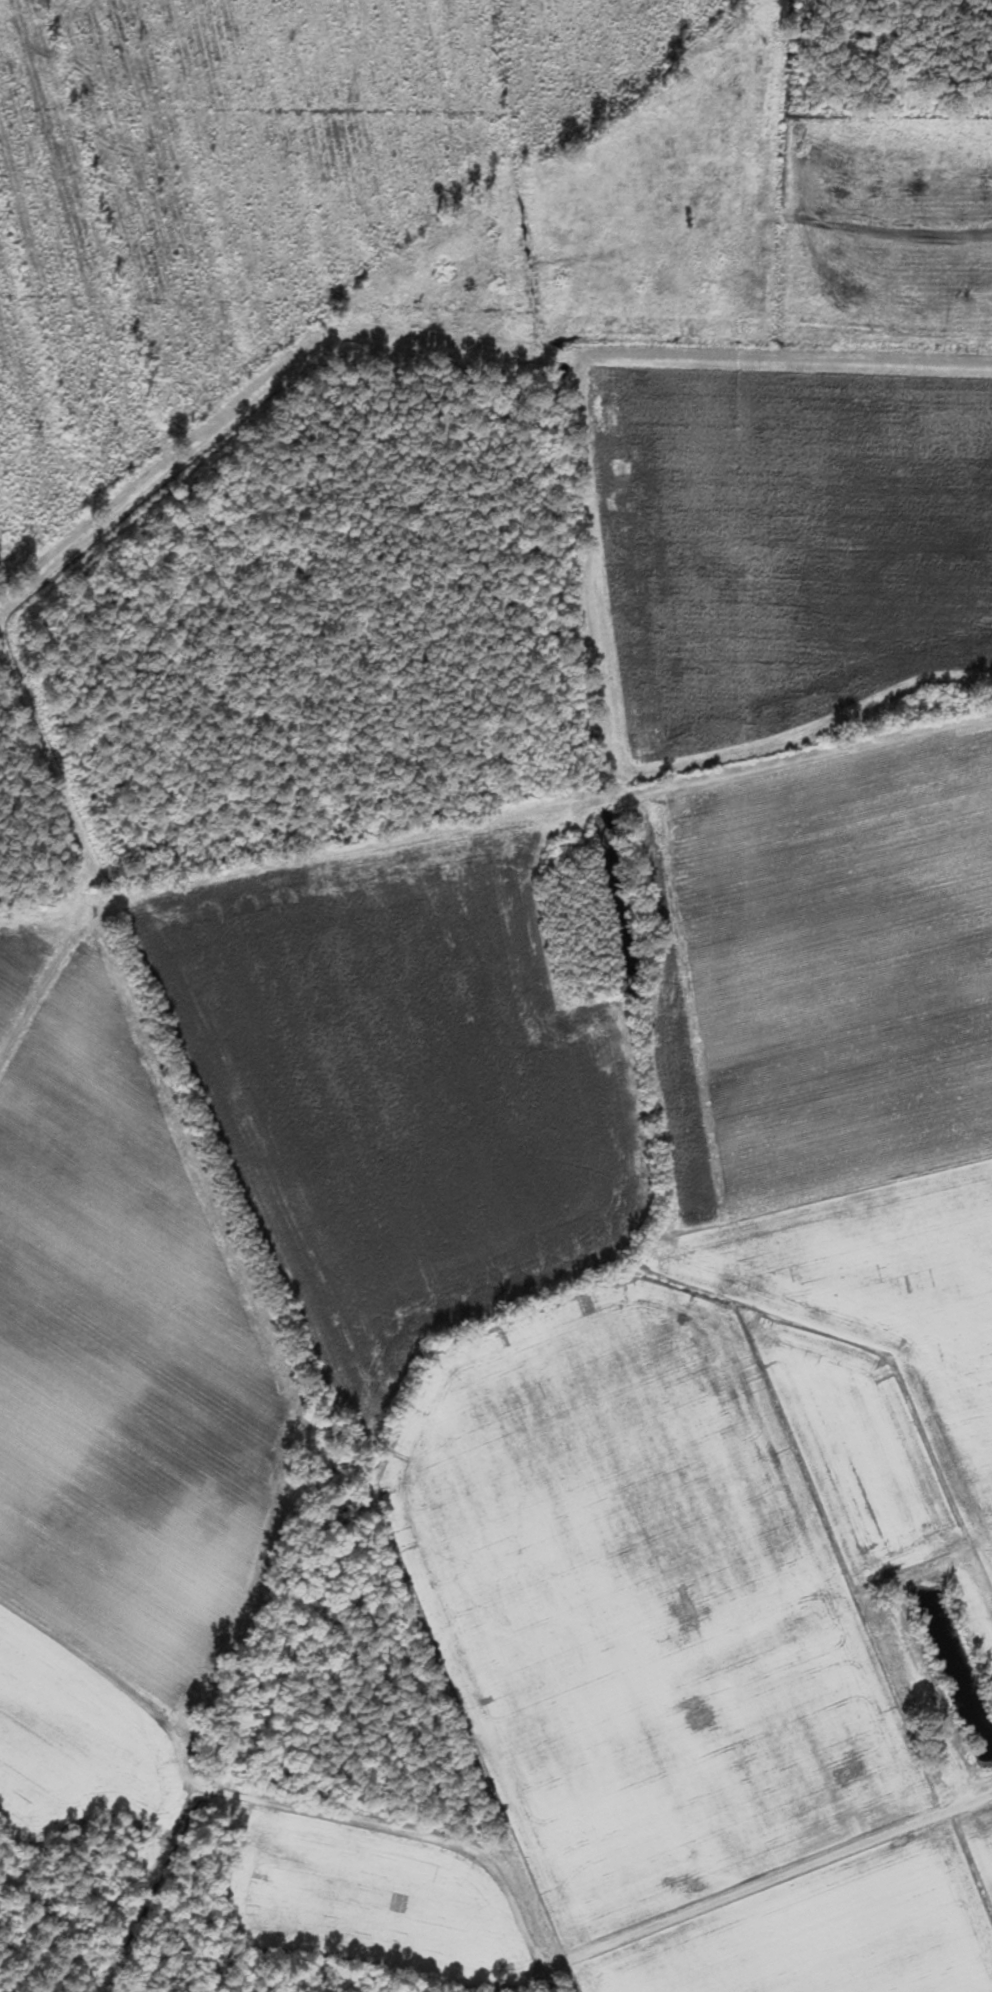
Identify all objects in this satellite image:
road: (557, 783)
road: (305, 1286)

